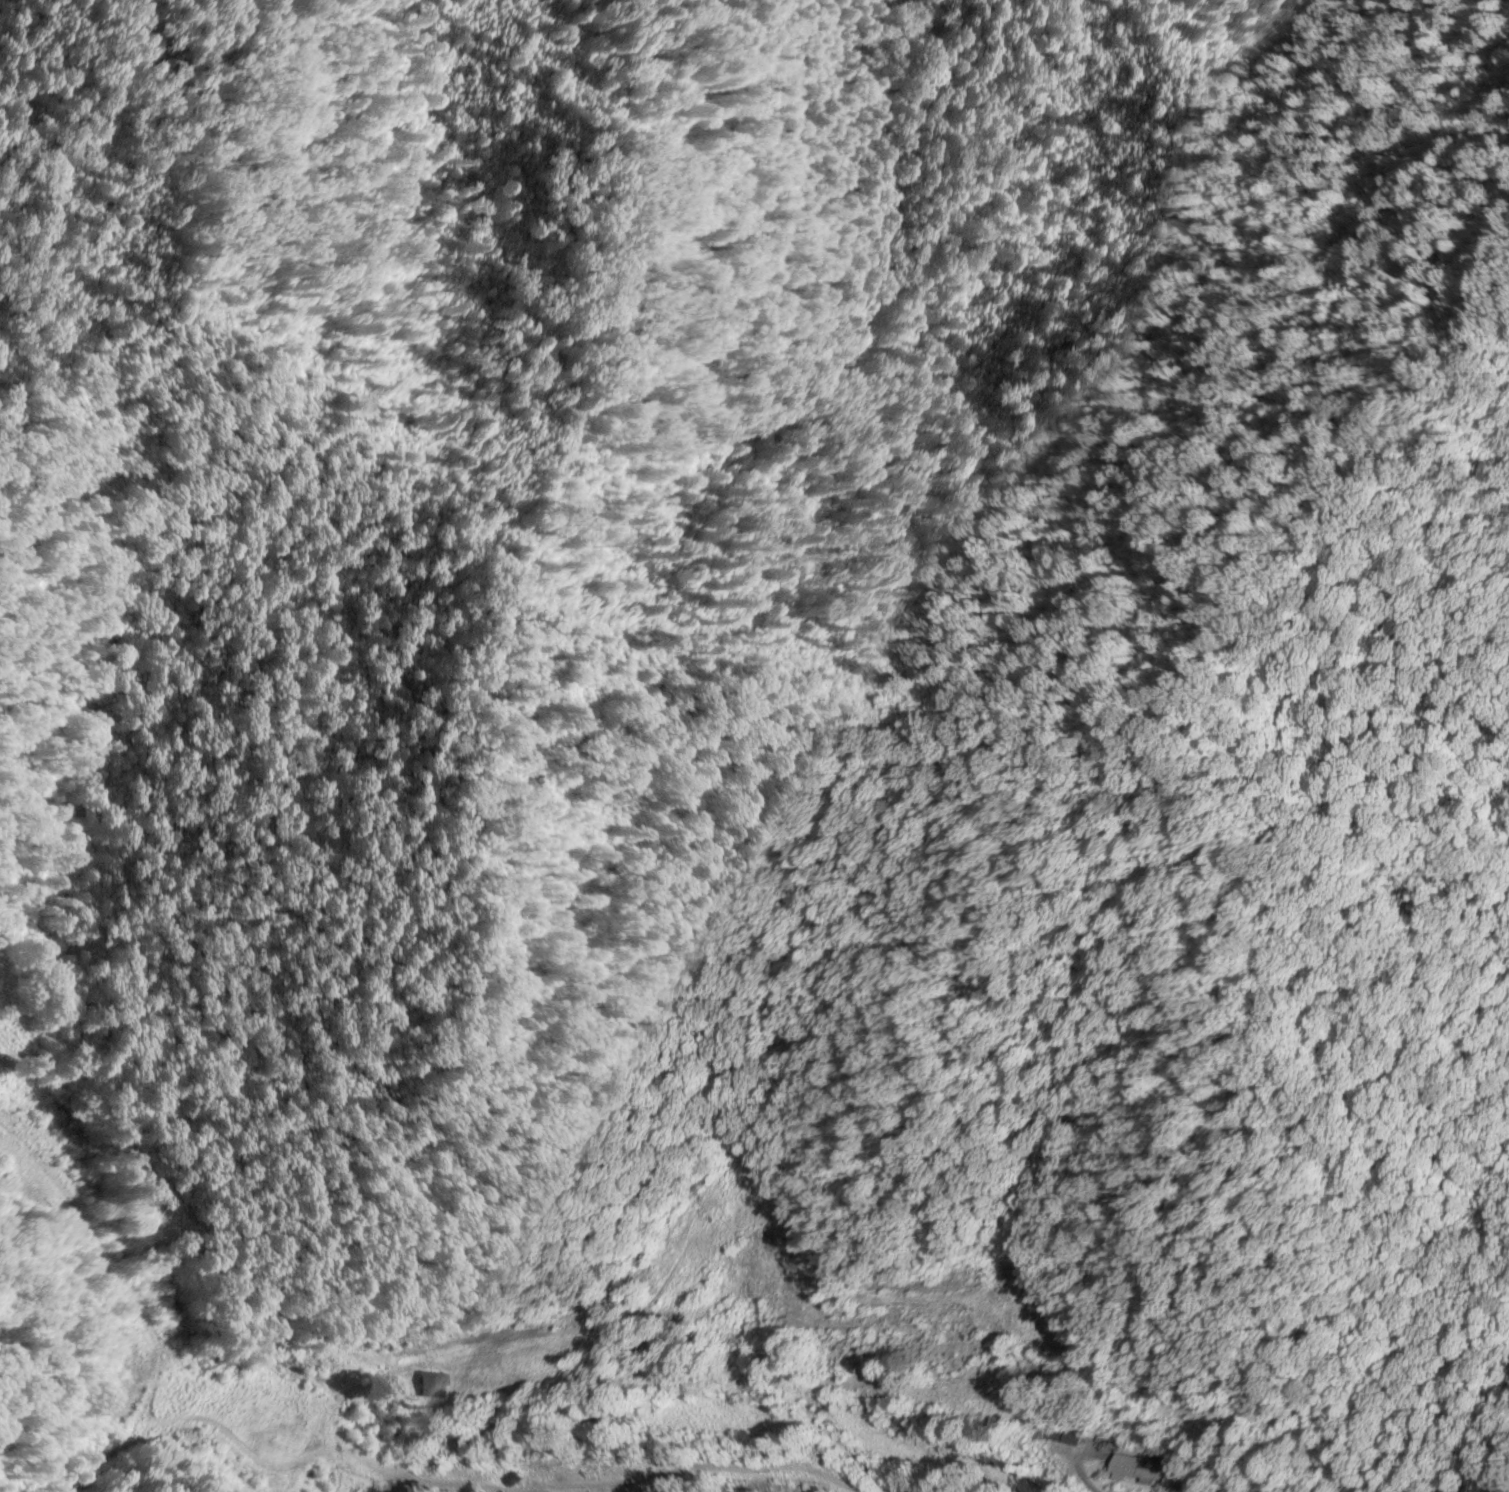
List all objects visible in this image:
building: (423, 1388)
building: (1071, 1435)
building: (1143, 1470)

